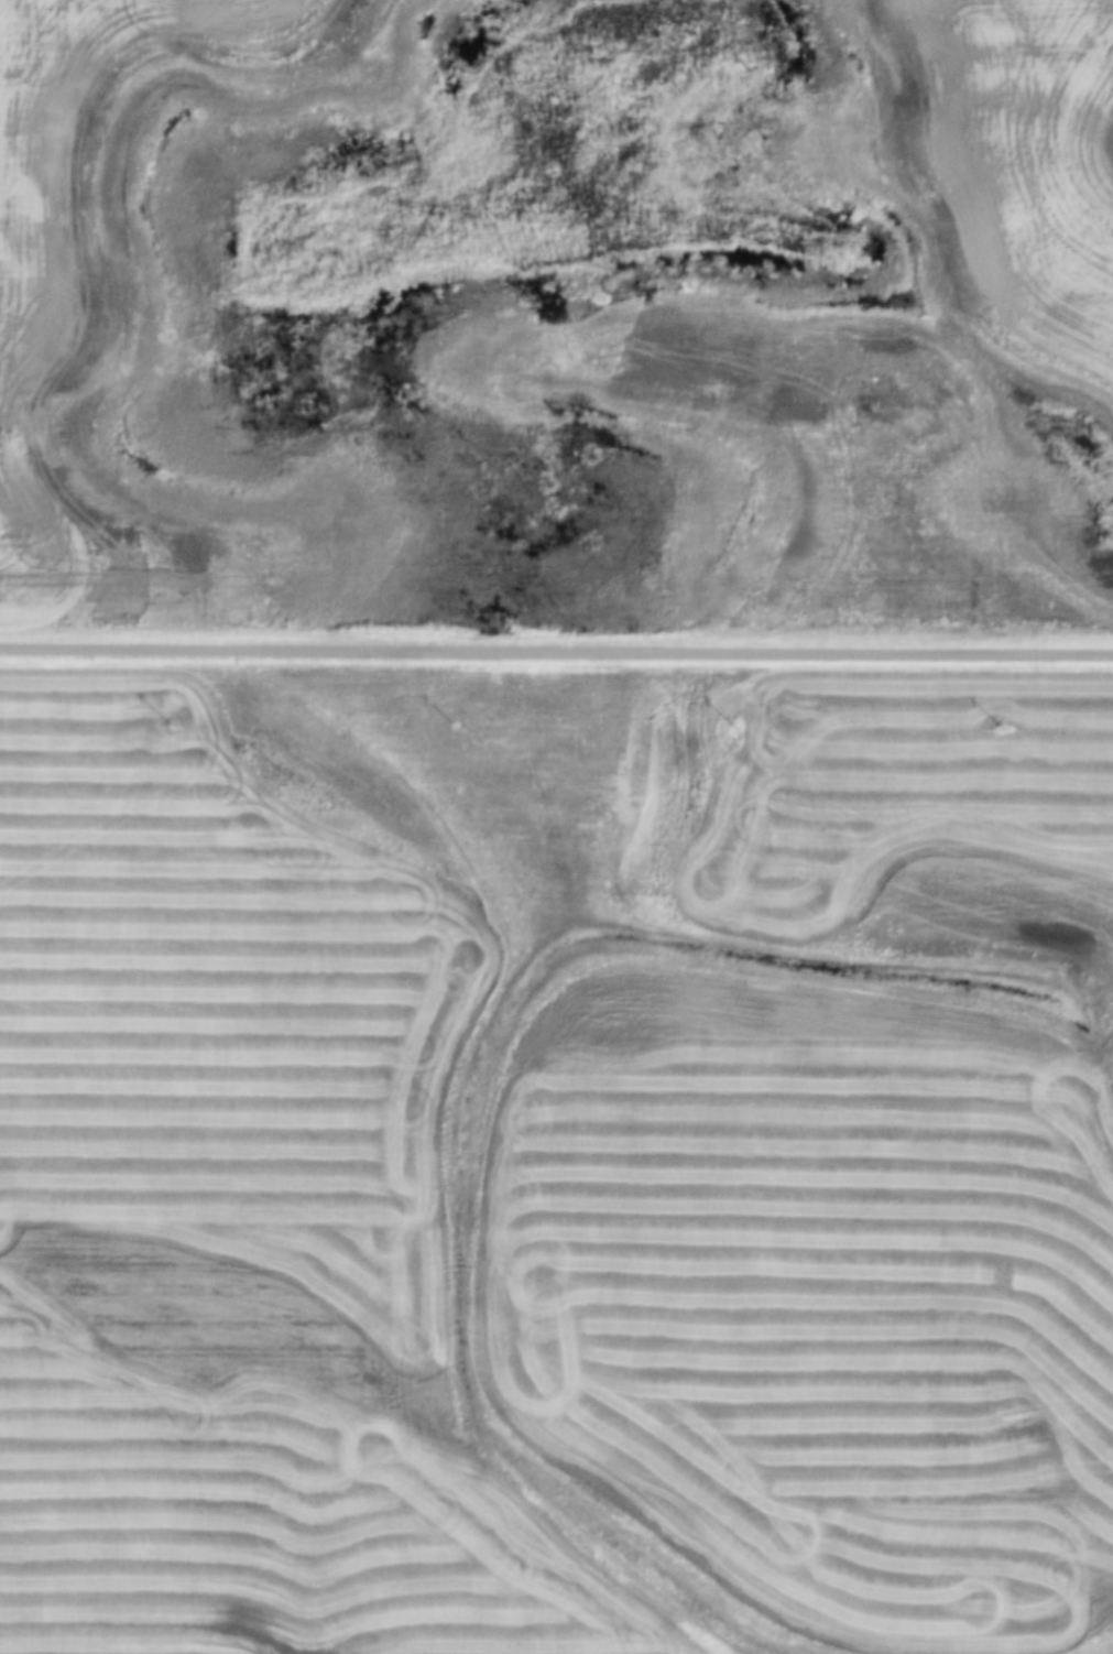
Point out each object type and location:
road: (556, 651)

